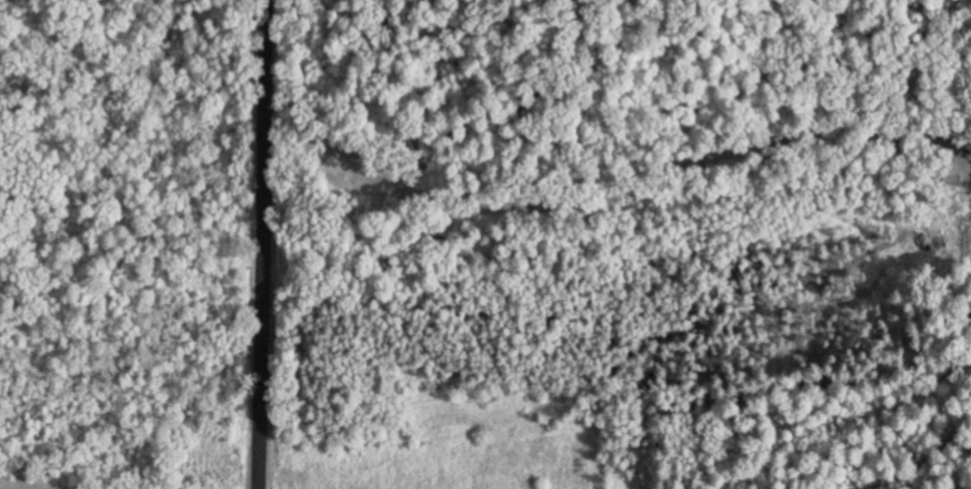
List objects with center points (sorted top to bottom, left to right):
road: (265, 244)

